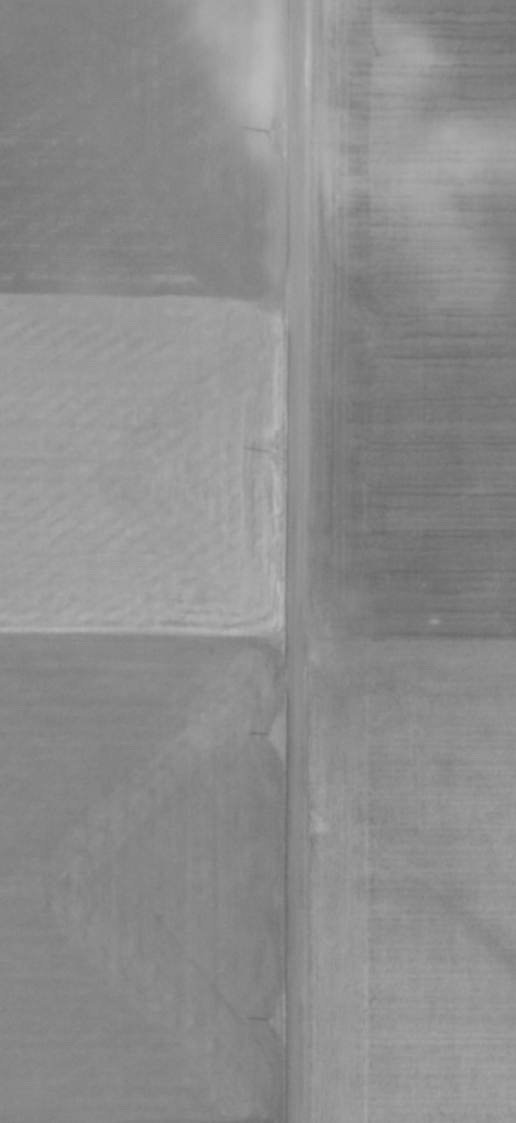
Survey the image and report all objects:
road: (298, 561)
crop: (415, 561)
crop: (136, 562)

